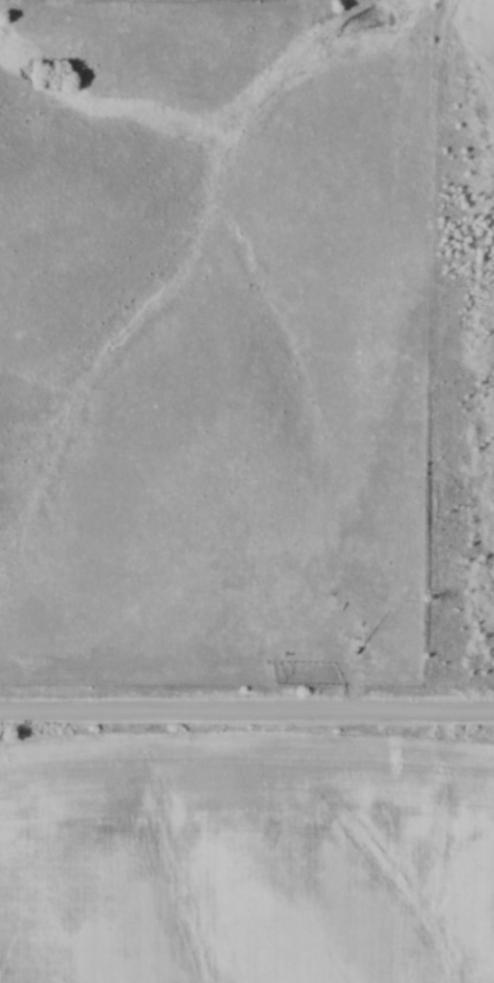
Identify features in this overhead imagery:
road: (247, 716)

